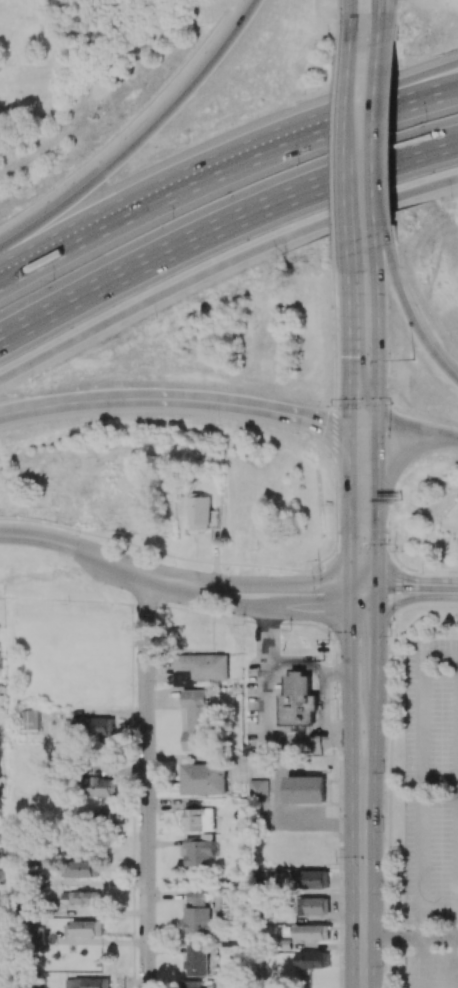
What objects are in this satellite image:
street lamp: (210, 21)
road: (379, 21)
road: (384, 21)
road: (350, 25)
street lamp: (333, 63)
road: (350, 97)
road: (331, 110)
street lamp: (129, 114)
street lamp: (425, 121)
road: (331, 122)
road: (138, 134)
road: (378, 138)
street lamp: (334, 151)
street lamp: (297, 163)
road: (449, 179)
road: (349, 192)
street lamp: (36, 194)
street lamp: (450, 199)
street lamp: (173, 218)
road: (222, 218)
road: (104, 225)
street lamp: (328, 233)
street lamp: (332, 240)
road: (214, 265)
street lamp: (52, 280)
road: (349, 299)
road: (408, 312)
street lamp: (155, 317)
traffic signals: (349, 356)
street lamp: (414, 359)
road: (178, 398)
road: (349, 398)
road: (387, 414)
street lamp: (107, 421)
street lamp: (218, 425)
traffic signals: (326, 426)
traffic signals: (378, 435)
road: (402, 459)
road: (378, 487)
building: (200, 513)
road: (350, 522)
street lamp: (78, 534)
road: (73, 545)
street lamp: (397, 549)
street lamp: (316, 558)
street lamp: (175, 565)
road: (421, 567)
street lamp: (422, 573)
traffic signals: (350, 574)
road: (270, 576)
road: (168, 578)
road: (365, 579)
traffic signals: (381, 585)
road: (398, 586)
road: (419, 586)
road: (366, 594)
road: (270, 604)
traffic signals: (352, 604)
street lamp: (391, 619)
street lamp: (243, 624)
street lamp: (327, 639)
building: (200, 668)
road: (353, 672)
road: (323, 676)
road: (338, 676)
building: (299, 701)
building: (30, 720)
building: (196, 720)
road: (266, 720)
building: (97, 726)
building: (203, 779)
road: (145, 780)
building: (95, 786)
parking lot: (433, 787)
building: (306, 789)
building: (258, 791)
road: (392, 798)
road: (419, 800)
building: (193, 817)
building: (199, 853)
road: (361, 863)
building: (82, 868)
building: (2, 878)
building: (317, 879)
building: (84, 897)
building: (320, 906)
building: (198, 913)
building: (84, 928)
road: (439, 929)
building: (312, 932)
building: (39, 936)
building: (196, 960)
building: (313, 960)
parking lot: (433, 973)
building: (88, 983)
building: (191, 984)

